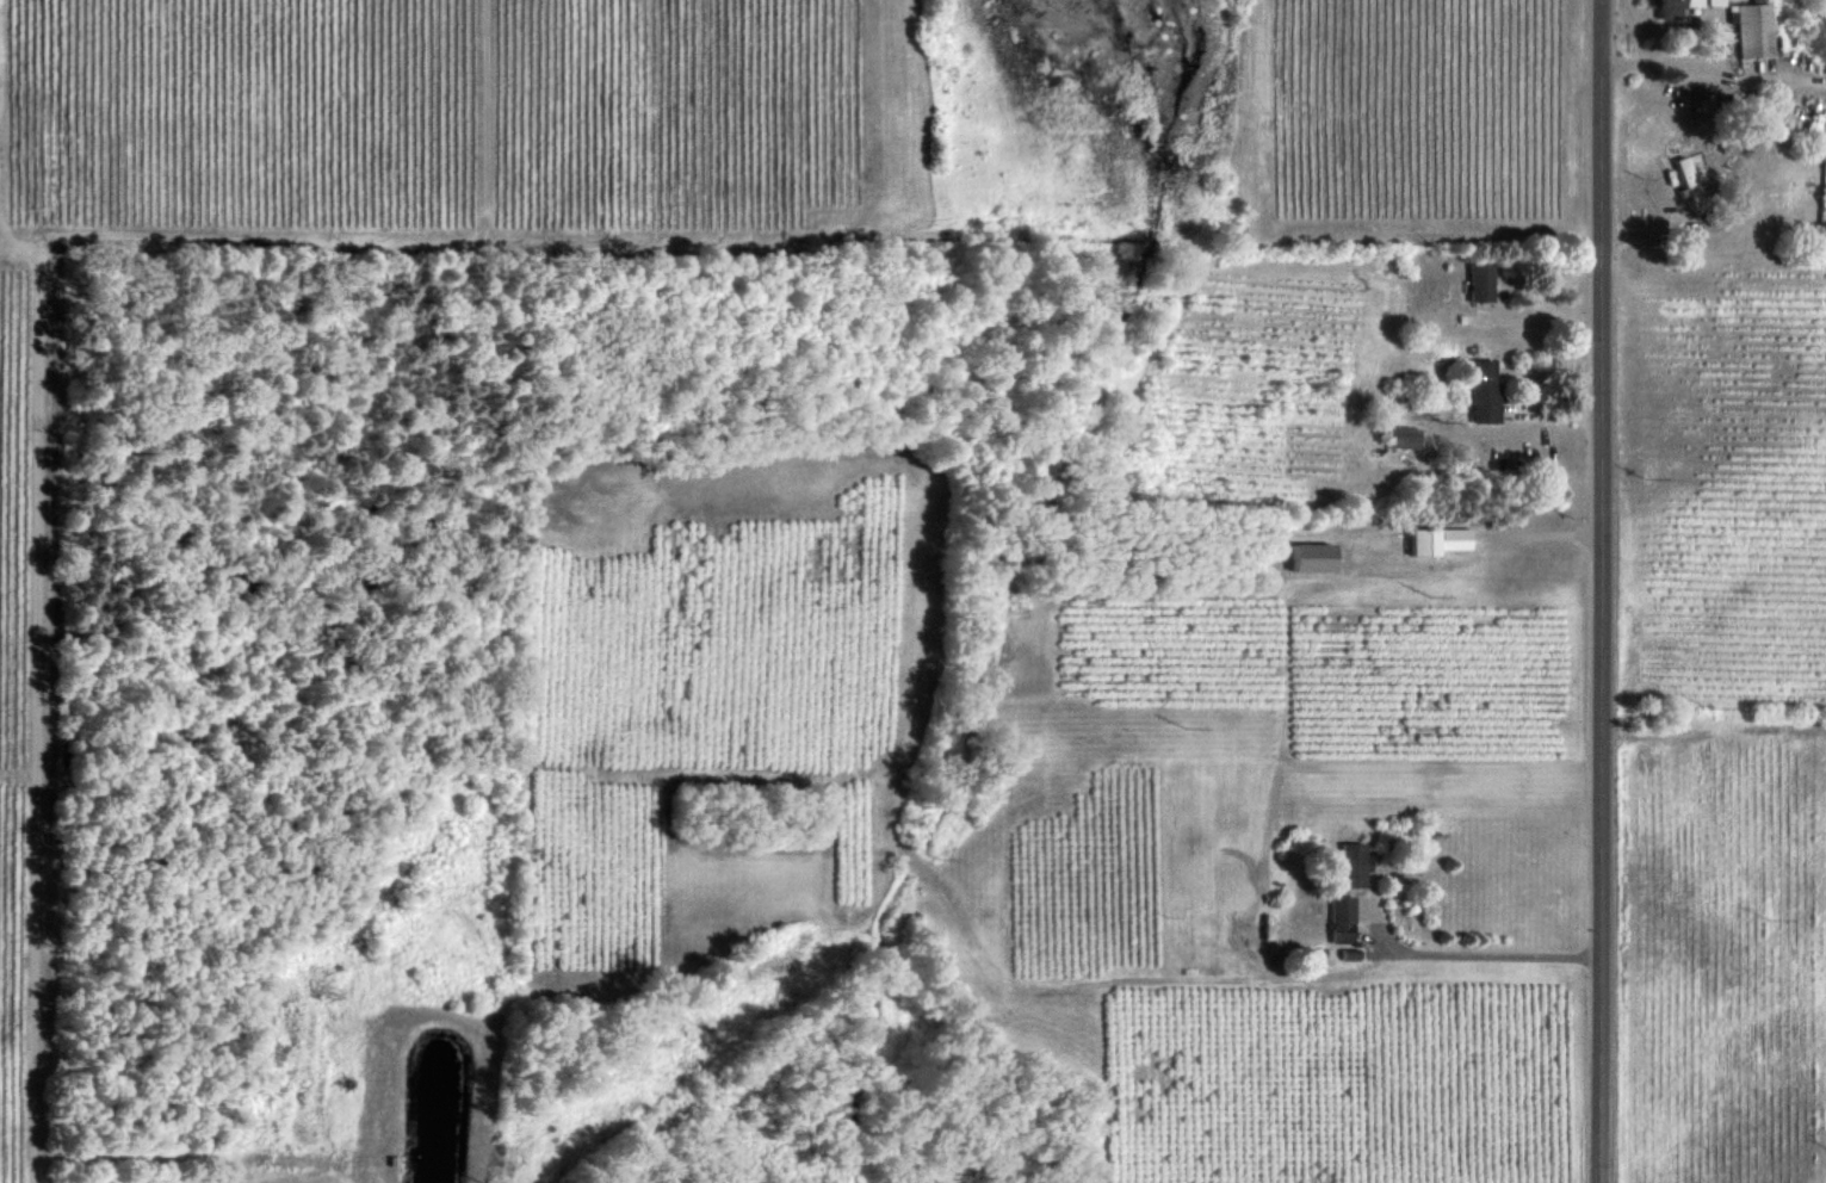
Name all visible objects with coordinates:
building: (1712, 2)
building: (1672, 7)
building: (1750, 29)
road: (1714, 32)
building: (1691, 184)
building: (1481, 283)
building: (1484, 390)
building: (1403, 436)
building: (1438, 539)
building: (1316, 557)
road: (1603, 590)
building: (1354, 863)
building: (1341, 919)
road: (1485, 953)

